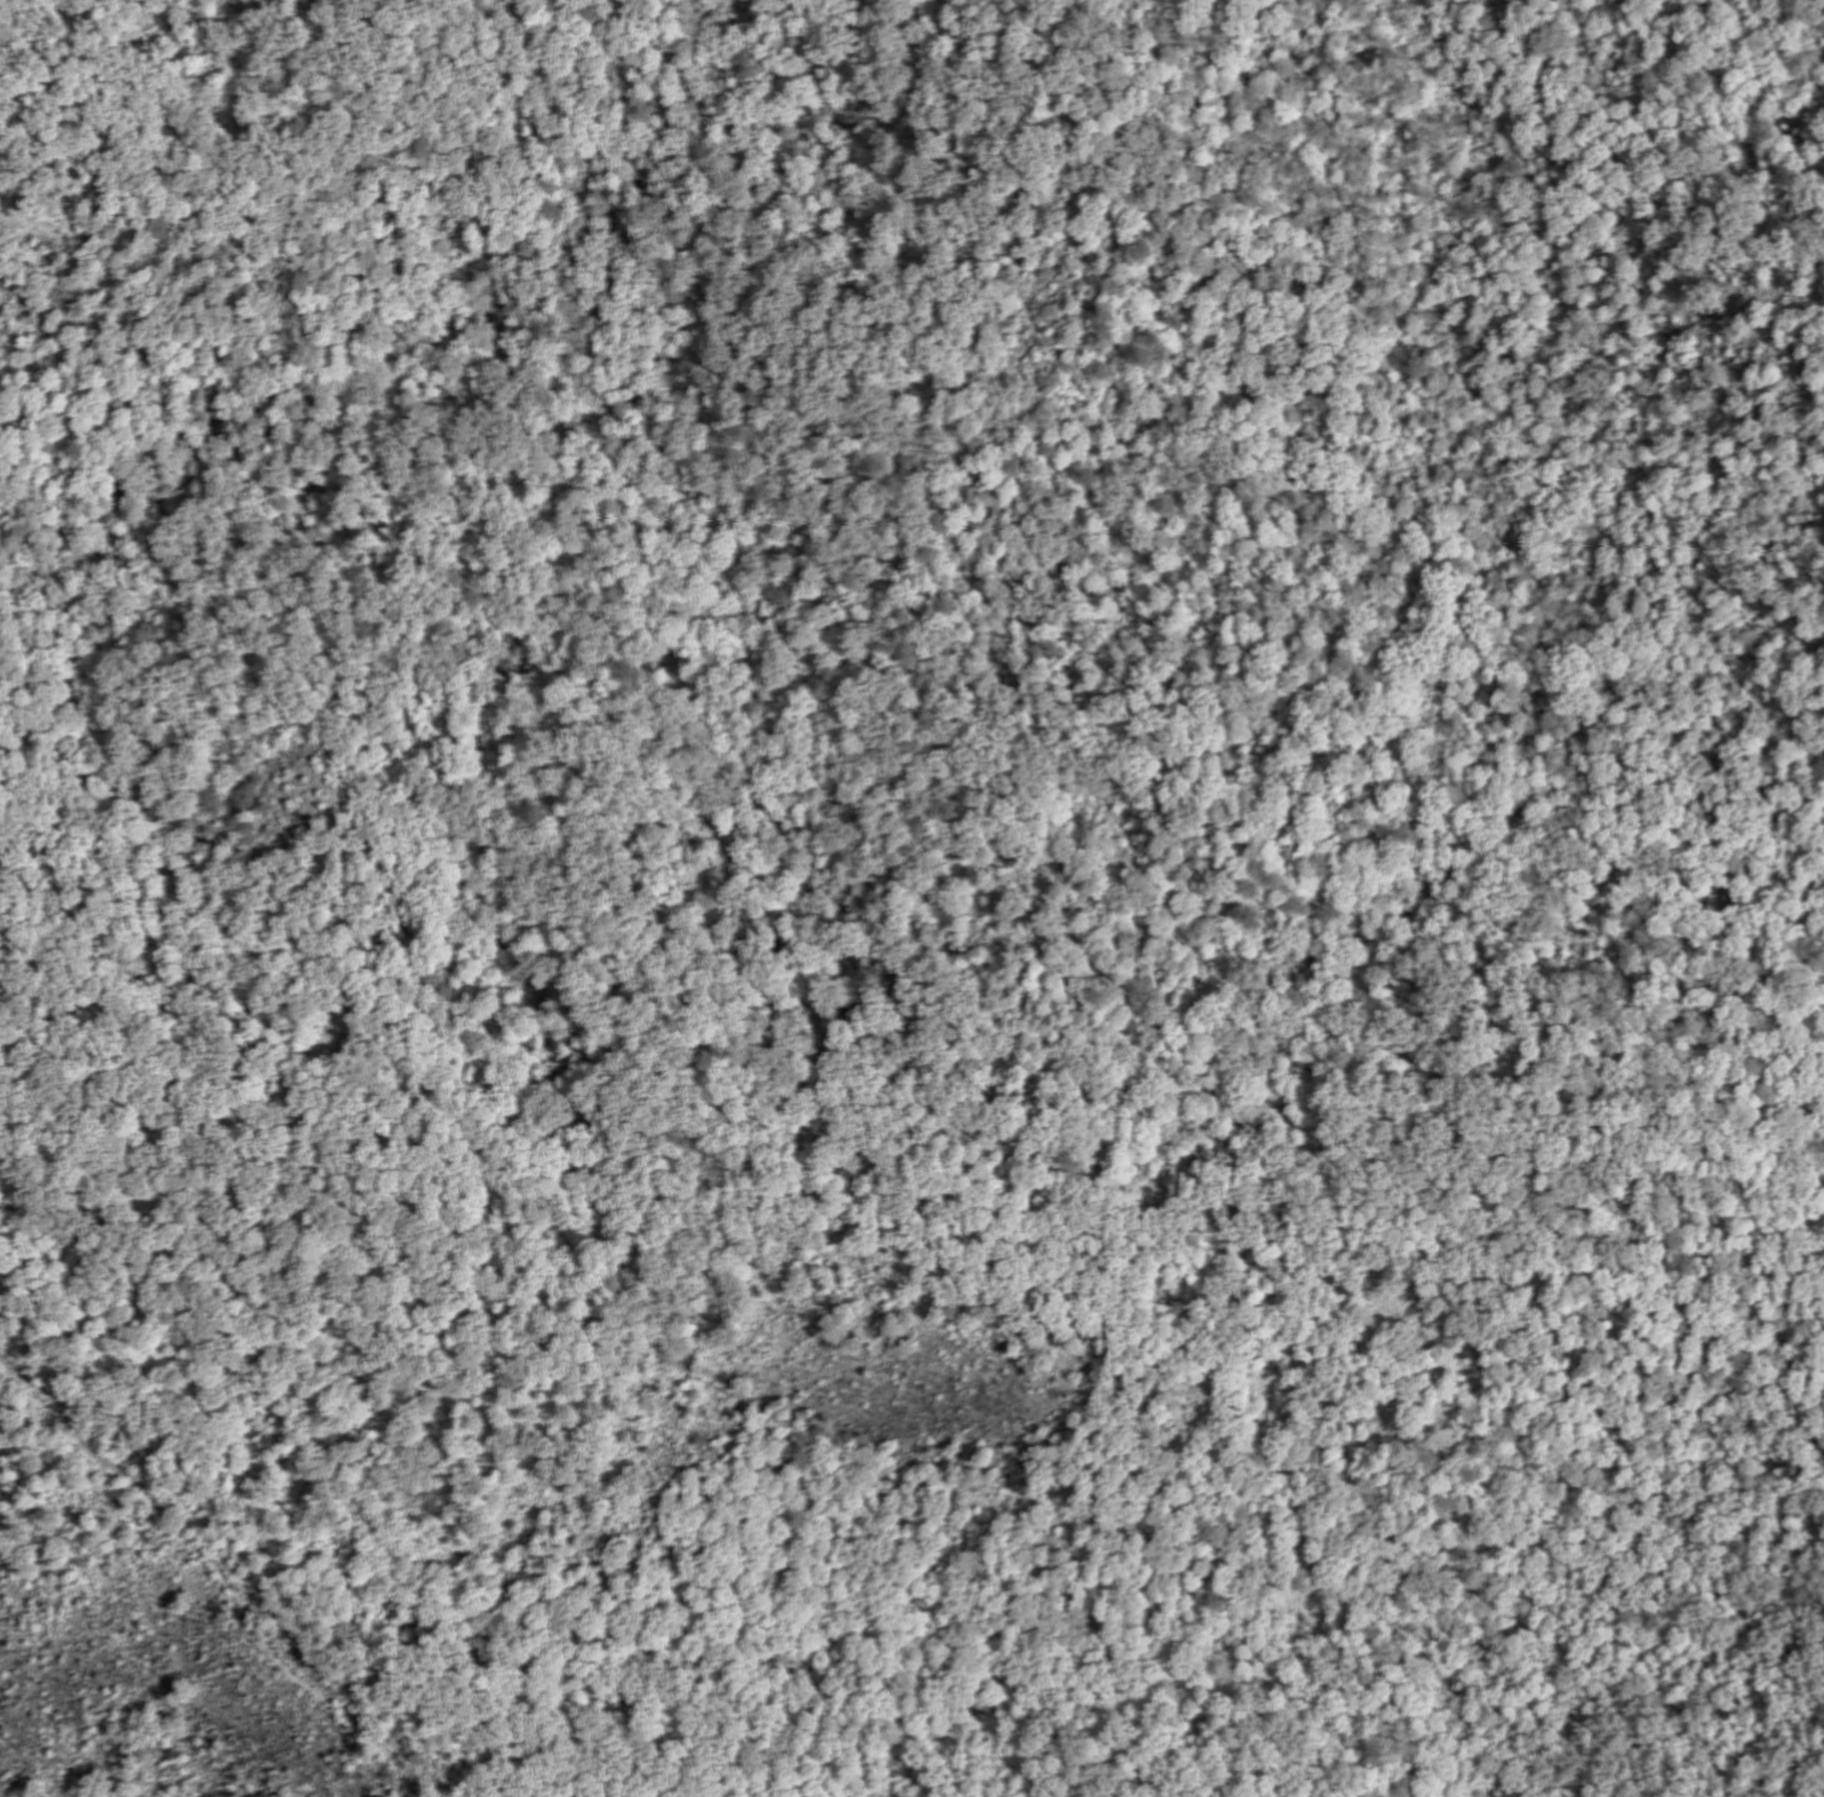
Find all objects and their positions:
road: (168, 1641)

